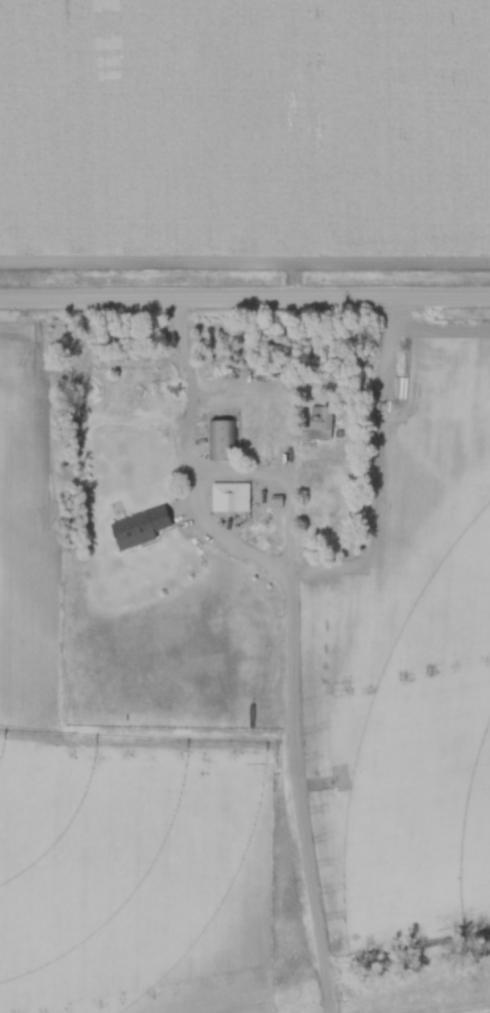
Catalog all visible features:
crop: (245, 127)
road: (245, 300)
building: (402, 360)
building: (398, 386)
building: (320, 423)
building: (220, 437)
building: (230, 497)
building: (141, 528)
crop: (410, 671)
road: (282, 739)

